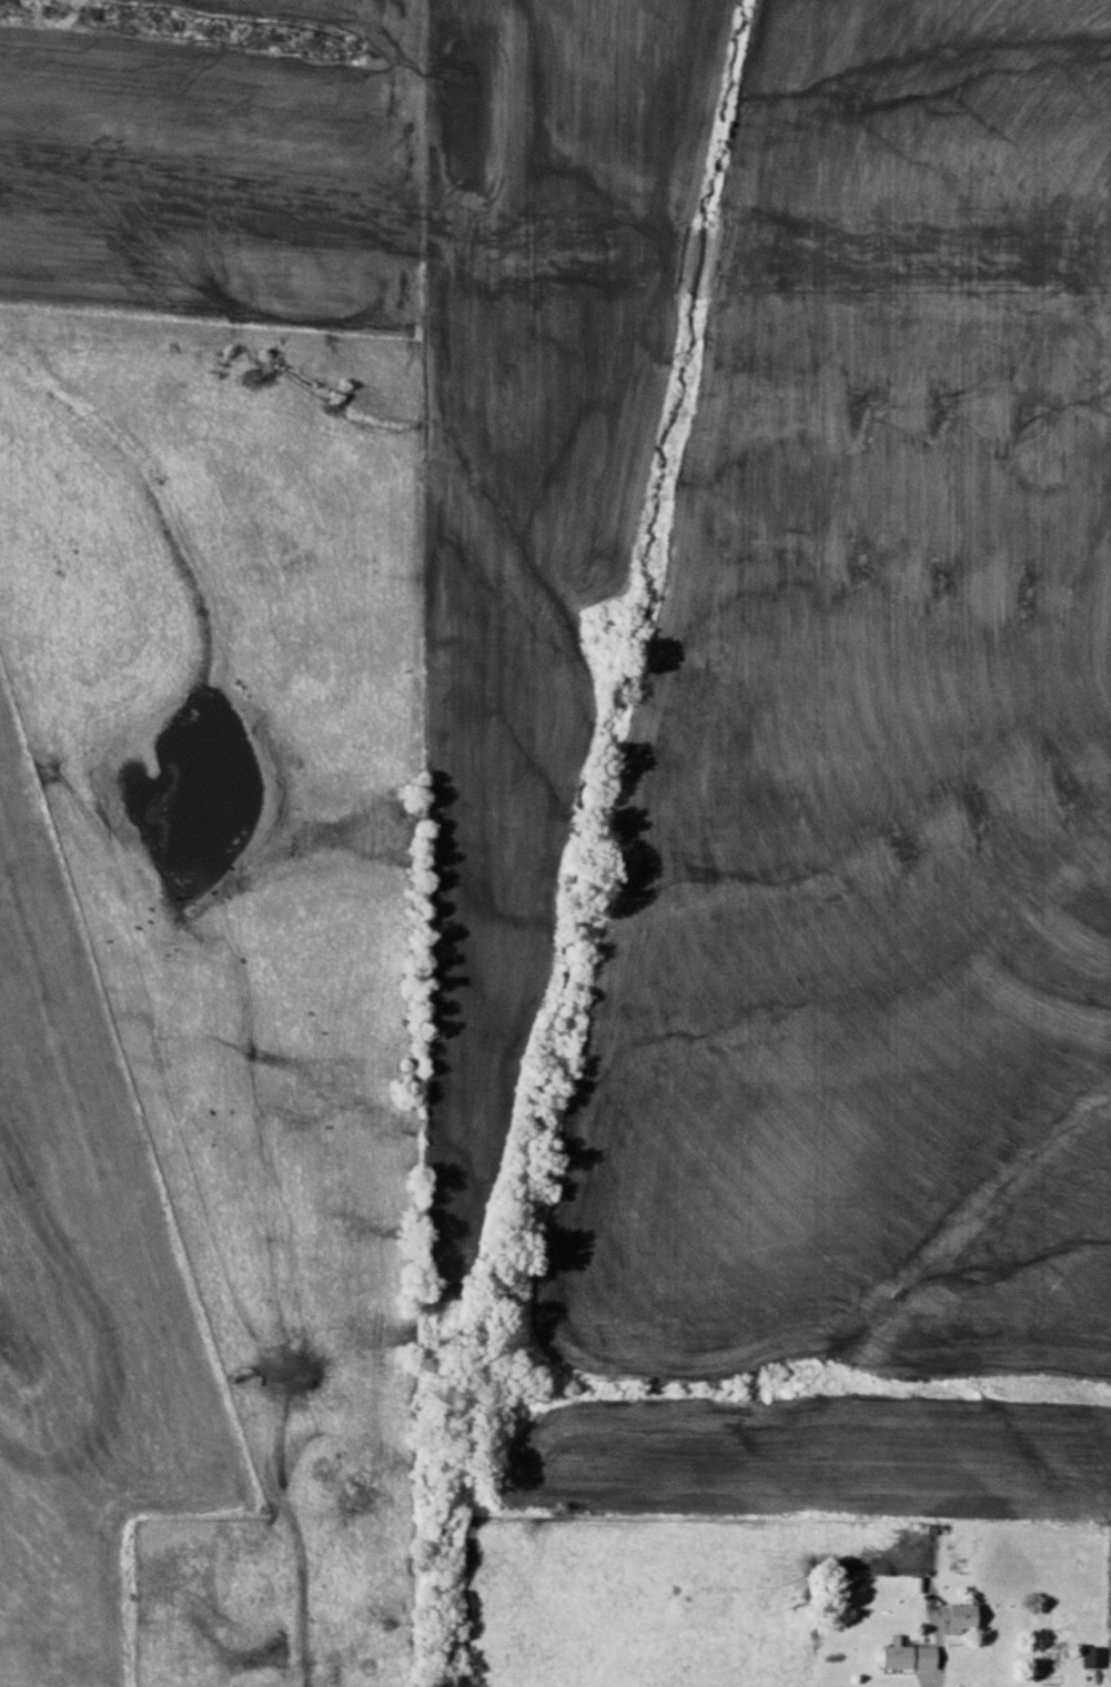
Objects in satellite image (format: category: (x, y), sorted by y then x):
building: (902, 1656)
building: (1089, 1656)
building: (1046, 1661)

